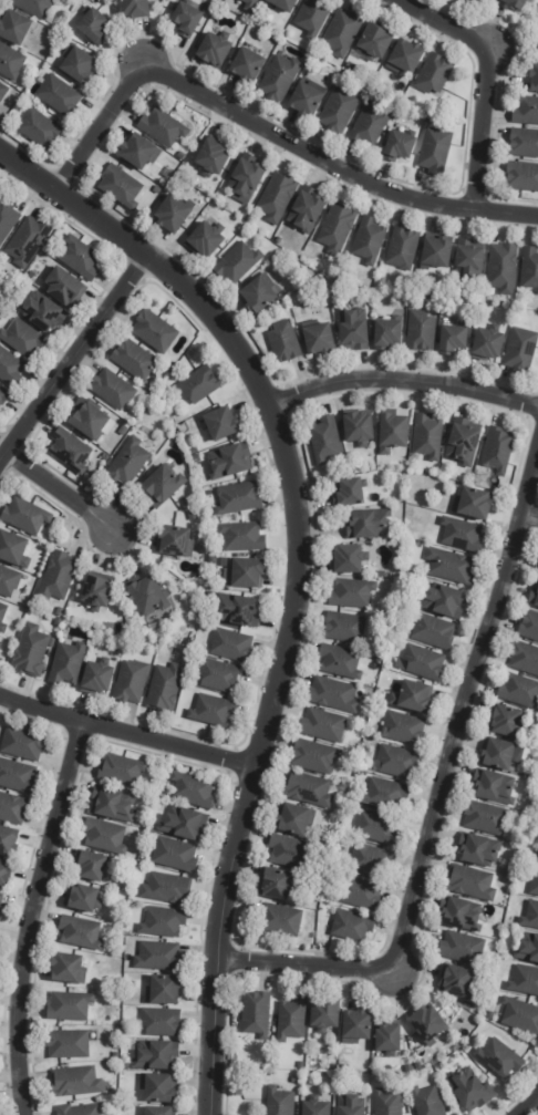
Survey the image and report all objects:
building: (461, 0)
building: (474, 0)
building: (250, 4)
building: (283, 4)
building: (516, 4)
building: (32, 7)
building: (134, 9)
building: (313, 18)
building: (186, 20)
road: (445, 23)
building: (93, 27)
building: (13, 29)
building: (343, 32)
building: (537, 38)
building: (375, 43)
building: (213, 51)
building: (405, 58)
building: (10, 63)
building: (77, 66)
building: (247, 66)
building: (351, 68)
building: (332, 73)
building: (434, 75)
building: (343, 78)
building: (280, 79)
building: (535, 80)
building: (400, 89)
building: (3, 92)
building: (59, 97)
building: (307, 100)
building: (339, 111)
building: (526, 112)
building: (431, 121)
road: (108, 124)
building: (369, 127)
road: (482, 127)
building: (162, 128)
building: (40, 130)
building: (524, 144)
building: (399, 147)
building: (435, 152)
building: (138, 153)
building: (211, 159)
road: (337, 162)
building: (523, 177)
building: (245, 180)
building: (121, 188)
building: (157, 192)
building: (277, 197)
building: (213, 208)
building: (306, 211)
building: (172, 216)
building: (7, 219)
building: (337, 229)
building: (27, 240)
building: (206, 240)
building: (279, 241)
building: (369, 241)
building: (403, 249)
building: (437, 255)
building: (80, 257)
building: (238, 265)
building: (469, 265)
building: (503, 269)
building: (529, 269)
building: (32, 276)
building: (64, 287)
building: (442, 296)
building: (256, 297)
building: (43, 311)
building: (154, 331)
building: (353, 331)
building: (421, 333)
building: (387, 335)
building: (22, 338)
building: (319, 341)
building: (452, 341)
building: (283, 343)
building: (487, 345)
road: (77, 351)
building: (521, 351)
building: (134, 359)
building: (10, 368)
road: (402, 379)
building: (198, 384)
building: (113, 390)
building: (164, 390)
building: (3, 394)
building: (87, 419)
building: (221, 422)
building: (359, 427)
building: (123, 430)
building: (392, 432)
building: (427, 435)
building: (324, 438)
building: (464, 442)
building: (498, 450)
building: (70, 451)
building: (194, 451)
building: (105, 457)
building: (196, 458)
building: (128, 461)
building: (231, 461)
building: (161, 486)
road: (56, 489)
building: (350, 491)
building: (238, 498)
building: (186, 503)
building: (473, 503)
building: (24, 516)
road: (529, 516)
building: (369, 524)
building: (462, 534)
building: (242, 537)
building: (174, 540)
building: (13, 549)
building: (349, 558)
building: (449, 565)
road: (297, 568)
building: (245, 572)
building: (382, 574)
building: (58, 576)
building: (8, 581)
building: (96, 589)
building: (351, 593)
building: (147, 595)
building: (210, 595)
building: (534, 595)
building: (444, 601)
building: (238, 609)
building: (60, 612)
building: (2, 618)
building: (108, 626)
building: (529, 626)
building: (344, 627)
building: (434, 631)
building: (0, 641)
building: (0, 644)
building: (230, 646)
building: (31, 651)
building: (525, 658)
building: (340, 661)
building: (68, 663)
building: (424, 663)
building: (218, 675)
building: (96, 678)
building: (131, 681)
building: (164, 688)
building: (520, 691)
building: (333, 695)
building: (413, 696)
road: (463, 709)
building: (213, 711)
building: (507, 721)
building: (323, 725)
building: (403, 729)
road: (125, 733)
building: (22, 744)
building: (501, 754)
building: (315, 757)
building: (397, 762)
building: (121, 771)
building: (531, 774)
building: (17, 777)
building: (495, 787)
building: (308, 789)
building: (193, 791)
building: (385, 794)
building: (112, 805)
building: (12, 808)
building: (486, 818)
building: (294, 819)
building: (184, 824)
building: (376, 827)
building: (104, 836)
building: (536, 839)
building: (8, 842)
building: (479, 850)
building: (290, 853)
building: (174, 855)
building: (371, 860)
building: (113, 861)
building: (537, 861)
building: (91, 866)
building: (4, 874)
building: (320, 882)
building: (276, 884)
building: (470, 884)
building: (535, 885)
building: (166, 889)
building: (360, 894)
building: (1, 899)
building: (81, 899)
building: (1, 911)
building: (461, 915)
road: (31, 916)
building: (530, 916)
building: (280, 920)
building: (163, 922)
building: (352, 926)
building: (80, 932)
building: (462, 948)
building: (528, 949)
building: (158, 957)
road: (307, 962)
building: (68, 970)
building: (525, 981)
building: (456, 982)
building: (163, 991)
building: (467, 1005)
building: (69, 1008)
building: (256, 1014)
building: (324, 1015)
building: (490, 1015)
building: (520, 1016)
building: (292, 1020)
building: (161, 1023)
building: (427, 1025)
building: (356, 1028)
building: (389, 1039)
building: (68, 1045)
building: (156, 1056)
building: (499, 1059)
building: (301, 1065)
building: (333, 1067)
building: (417, 1067)
building: (408, 1070)
building: (338, 1076)
building: (294, 1081)
building: (75, 1083)
building: (158, 1088)
building: (469, 1091)
building: (279, 1102)
building: (427, 1102)
building: (387, 1103)
road: (526, 1104)
building: (349, 1105)
building: (315, 1108)
building: (76, 1111)
building: (157, 1112)

